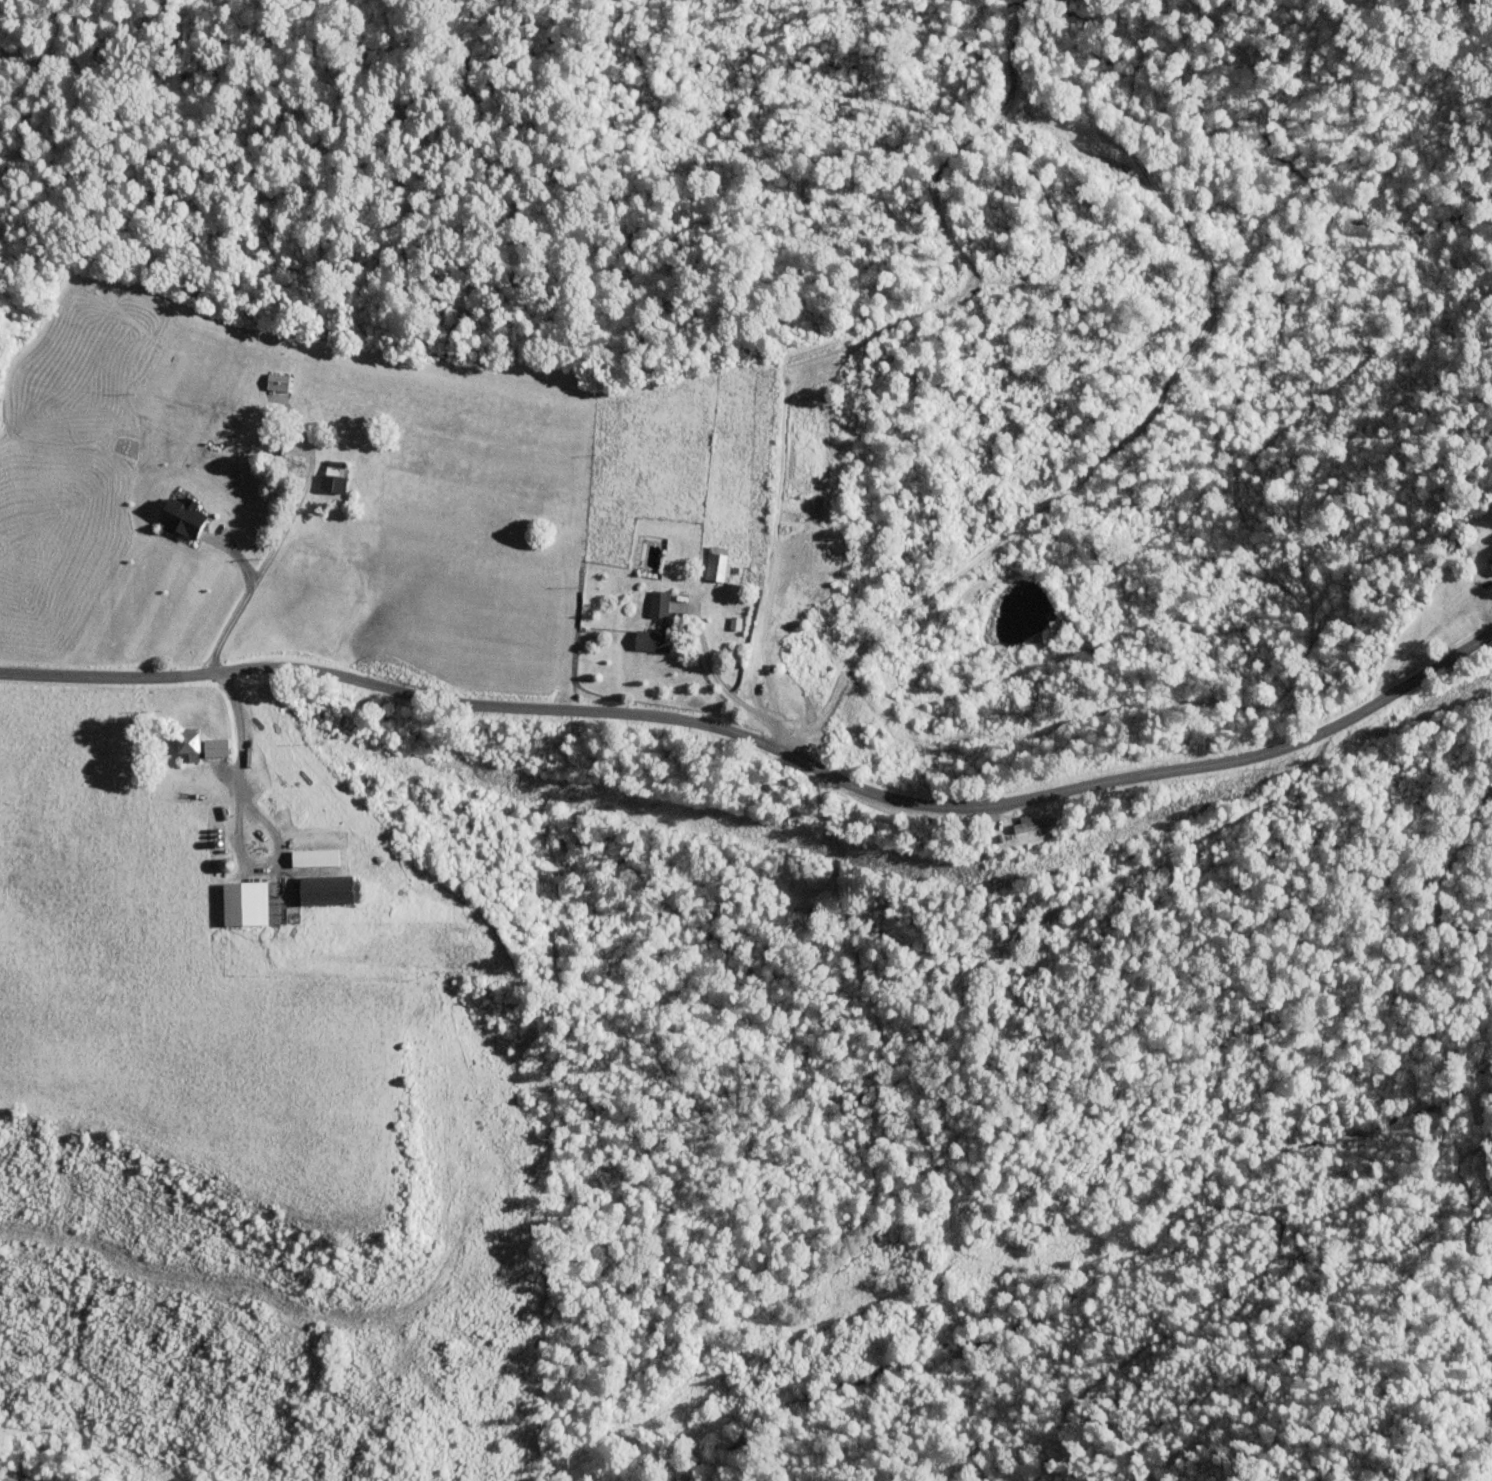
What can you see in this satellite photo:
building: (275, 388)
building: (331, 476)
road: (268, 554)
building: (715, 562)
building: (1489, 563)
building: (656, 603)
building: (650, 638)
building: (769, 659)
building: (185, 741)
building: (213, 747)
road: (764, 761)
building: (1033, 824)
road: (236, 828)
building: (312, 858)
building: (323, 890)
building: (242, 903)
building: (1051, 912)
building: (1013, 928)

